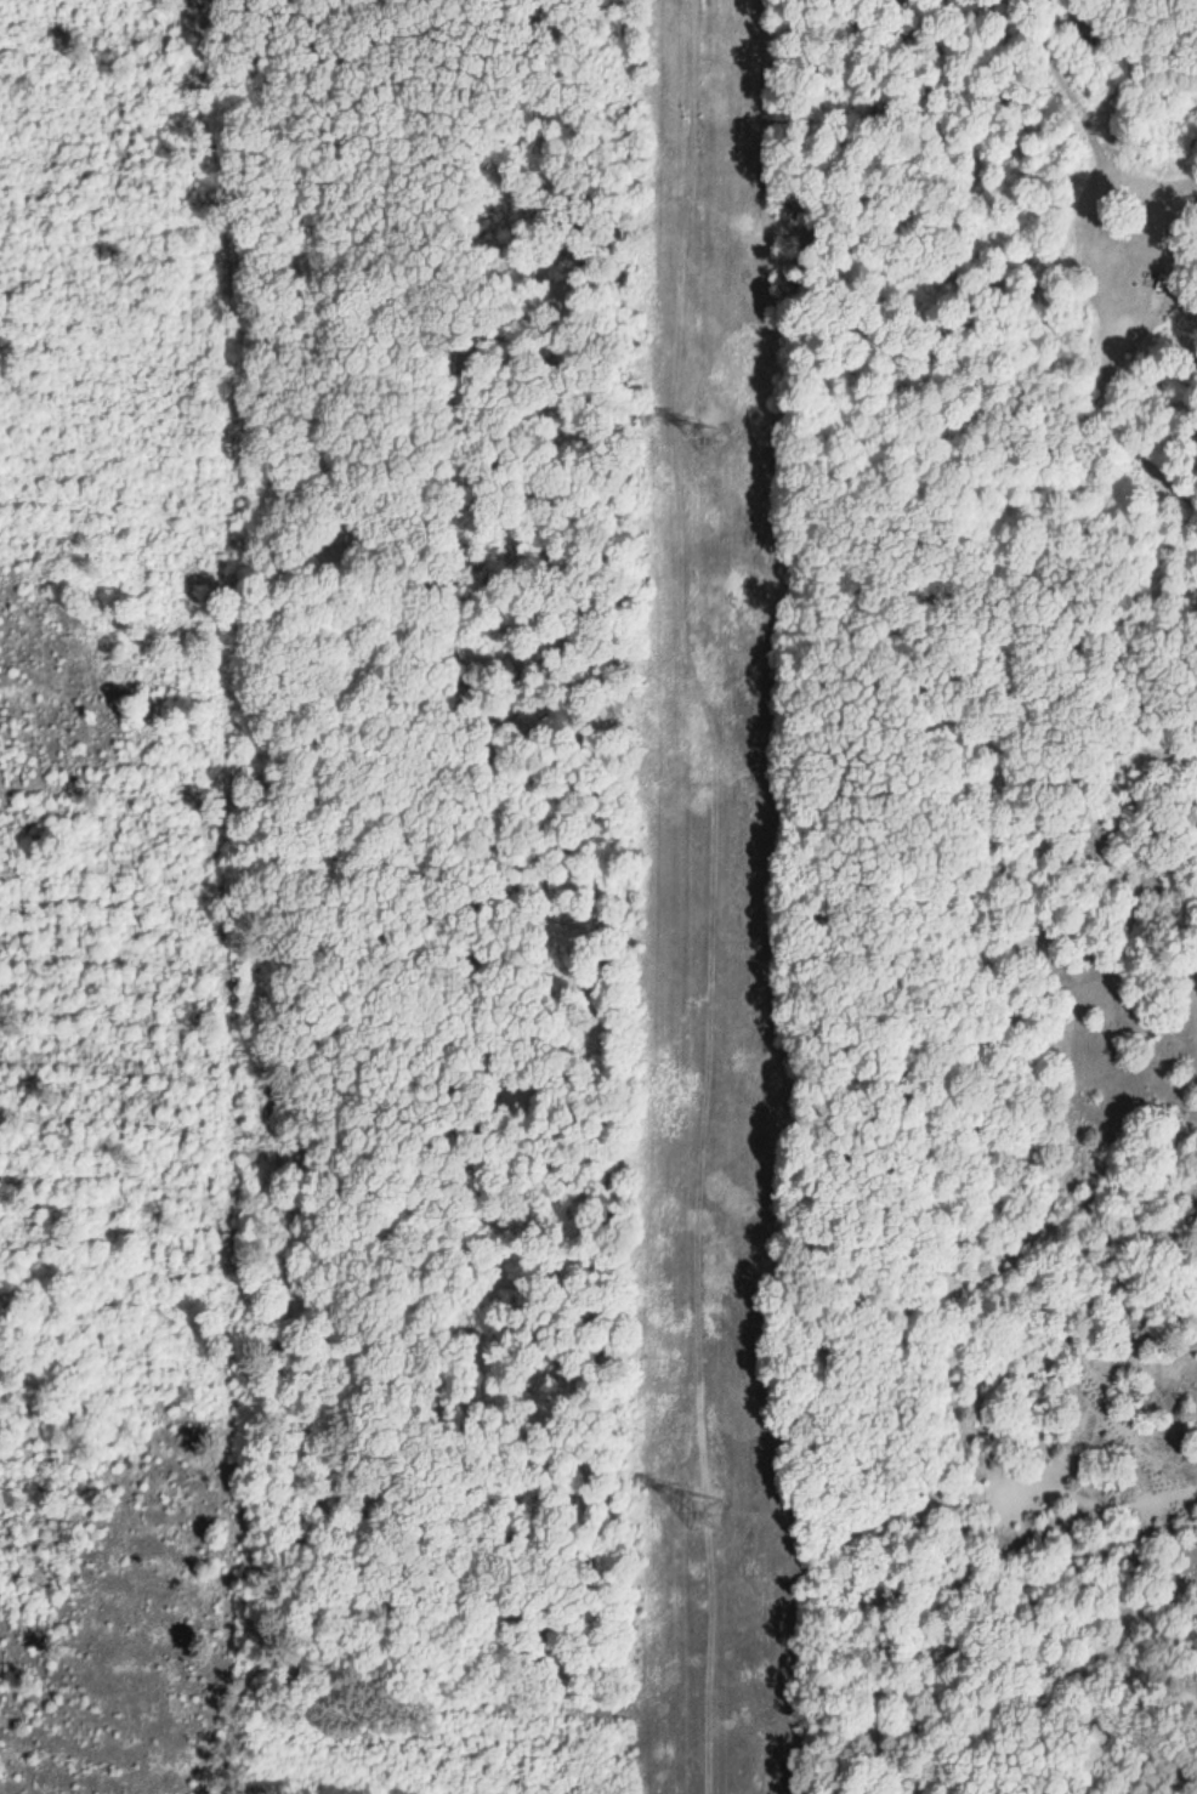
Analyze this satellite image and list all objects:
building: (1161, 284)
power tower: (715, 433)
power tower: (707, 1498)
road: (1196, 1792)

